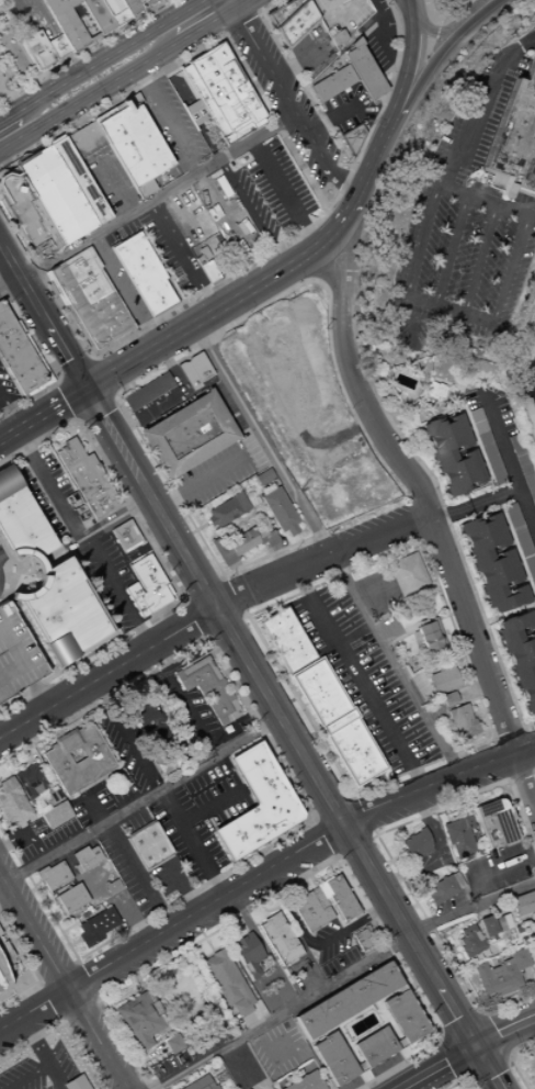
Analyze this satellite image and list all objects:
building: (162, 0)
building: (451, 3)
parking lot: (451, 3)
road: (487, 3)
building: (59, 5)
building: (140, 5)
road: (230, 5)
road: (242, 5)
road: (255, 5)
building: (321, 5)
parking lot: (321, 5)
road: (348, 10)
building: (117, 11)
road: (462, 12)
road: (465, 12)
building: (79, 13)
building: (300, 14)
building: (99, 15)
road: (42, 16)
road: (212, 16)
parking lot: (344, 18)
road: (441, 21)
road: (240, 22)
building: (284, 25)
road: (424, 26)
road: (204, 27)
building: (72, 30)
road: (375, 34)
parking lot: (378, 36)
building: (337, 37)
building: (60, 46)
building: (38, 49)
road: (84, 49)
road: (109, 56)
road: (298, 58)
parking lot: (12, 59)
road: (436, 60)
road: (405, 67)
building: (362, 70)
road: (143, 74)
building: (331, 82)
building: (223, 93)
road: (88, 98)
road: (477, 105)
road: (291, 106)
road: (330, 115)
road: (8, 116)
road: (72, 123)
road: (172, 125)
building: (95, 133)
building: (515, 134)
building: (90, 137)
building: (351, 138)
building: (83, 141)
road: (247, 141)
building: (75, 146)
building: (134, 147)
road: (288, 147)
road: (344, 153)
road: (223, 164)
road: (365, 177)
building: (78, 181)
road: (115, 183)
road: (340, 189)
parking lot: (269, 191)
road: (285, 193)
building: (53, 195)
building: (16, 197)
road: (483, 204)
road: (224, 210)
parking lot: (227, 216)
building: (32, 225)
road: (99, 228)
building: (38, 236)
road: (419, 242)
road: (177, 246)
building: (45, 247)
road: (0, 249)
road: (0, 250)
road: (448, 250)
building: (202, 252)
parking lot: (465, 254)
building: (198, 260)
road: (478, 260)
building: (72, 269)
road: (510, 269)
building: (207, 271)
building: (143, 273)
building: (81, 285)
road: (24, 289)
road: (121, 293)
building: (88, 296)
road: (212, 302)
building: (94, 307)
road: (448, 308)
building: (2, 311)
road: (219, 312)
building: (297, 318)
building: (102, 319)
building: (5, 321)
road: (412, 323)
building: (125, 324)
building: (114, 329)
building: (8, 333)
building: (259, 334)
building: (99, 338)
road: (79, 340)
building: (12, 346)
building: (261, 353)
road: (531, 356)
road: (67, 359)
road: (48, 360)
road: (362, 362)
building: (198, 367)
building: (24, 370)
road: (73, 370)
road: (171, 370)
building: (187, 375)
building: (278, 377)
road: (101, 379)
building: (309, 384)
road: (260, 385)
parking lot: (5, 390)
building: (431, 390)
traffic signals: (86, 391)
building: (150, 398)
road: (65, 401)
road: (58, 406)
road: (94, 407)
road: (348, 408)
road: (10, 414)
building: (527, 420)
road: (75, 422)
road: (15, 433)
building: (185, 435)
road: (337, 437)
road: (263, 445)
building: (486, 447)
building: (451, 454)
road: (150, 456)
road: (508, 461)
building: (522, 465)
building: (262, 478)
building: (86, 479)
road: (198, 482)
road: (418, 494)
road: (492, 498)
building: (225, 510)
building: (278, 512)
road: (429, 513)
road: (448, 513)
building: (20, 519)
road: (413, 519)
road: (68, 521)
road: (435, 534)
building: (125, 536)
building: (243, 540)
road: (420, 541)
building: (521, 542)
parking lot: (1, 557)
road: (158, 563)
building: (492, 563)
building: (41, 565)
building: (407, 574)
road: (220, 576)
building: (146, 586)
road: (202, 590)
building: (32, 593)
road: (116, 595)
road: (231, 597)
road: (182, 600)
road: (244, 616)
building: (65, 617)
road: (442, 617)
road: (208, 618)
road: (195, 619)
road: (224, 627)
building: (428, 638)
road: (206, 639)
building: (283, 639)
road: (451, 642)
building: (15, 655)
parking lot: (15, 655)
building: (520, 656)
road: (246, 663)
road: (398, 671)
parking lot: (363, 677)
building: (442, 677)
road: (361, 686)
building: (207, 688)
road: (473, 691)
building: (448, 698)
road: (183, 704)
road: (476, 714)
building: (146, 719)
road: (486, 720)
building: (334, 721)
building: (460, 721)
road: (506, 733)
road: (127, 738)
road: (525, 751)
building: (76, 759)
road: (499, 759)
road: (534, 773)
road: (521, 776)
building: (29, 782)
road: (440, 789)
road: (352, 796)
road: (458, 799)
road: (140, 801)
building: (254, 804)
building: (13, 805)
road: (305, 805)
road: (210, 807)
road: (92, 808)
road: (333, 810)
building: (56, 815)
road: (445, 816)
road: (363, 817)
road: (310, 819)
building: (493, 823)
road: (26, 831)
road: (405, 831)
building: (458, 835)
road: (325, 839)
building: (147, 845)
road: (354, 845)
building: (414, 846)
road: (193, 847)
road: (385, 853)
road: (397, 856)
building: (84, 858)
road: (439, 860)
road: (500, 867)
road: (304, 874)
building: (52, 875)
building: (456, 880)
road: (135, 882)
road: (307, 882)
road: (36, 883)
road: (1, 884)
building: (111, 886)
building: (440, 889)
building: (322, 890)
building: (71, 898)
building: (316, 898)
building: (340, 898)
road: (421, 900)
road: (47, 902)
building: (524, 902)
road: (274, 908)
building: (308, 912)
road: (56, 918)
building: (502, 921)
road: (341, 924)
road: (242, 925)
building: (487, 925)
building: (530, 925)
road: (69, 927)
building: (94, 927)
road: (115, 930)
road: (173, 934)
building: (278, 939)
building: (361, 940)
building: (468, 941)
road: (72, 943)
road: (208, 944)
road: (317, 944)
building: (534, 946)
road: (451, 948)
building: (4, 951)
building: (246, 954)
road: (76, 962)
road: (30, 972)
road: (57, 974)
building: (500, 975)
road: (87, 980)
building: (227, 983)
building: (0, 984)
road: (37, 984)
road: (59, 985)
road: (327, 986)
road: (527, 988)
road: (441, 990)
road: (99, 999)
building: (343, 1000)
road: (49, 1001)
road: (77, 1008)
road: (479, 1012)
building: (402, 1017)
building: (137, 1020)
road: (59, 1021)
road: (458, 1024)
road: (504, 1031)
road: (492, 1032)
road: (524, 1034)
road: (439, 1035)
building: (172, 1043)
building: (397, 1043)
traffic signals: (475, 1046)
building: (372, 1047)
road: (533, 1047)
parking lot: (277, 1048)
road: (403, 1052)
road: (509, 1055)
road: (43, 1056)
road: (453, 1056)
building: (330, 1059)
road: (511, 1059)
road: (138, 1060)
road: (485, 1066)
building: (533, 1066)
building: (356, 1067)
road: (439, 1067)
road: (486, 1067)
parking lot: (42, 1070)
road: (364, 1076)
road: (26, 1077)
building: (218, 1077)
road: (460, 1079)
building: (305, 1082)
building: (75, 1084)
building: (198, 1084)
road: (409, 1087)

